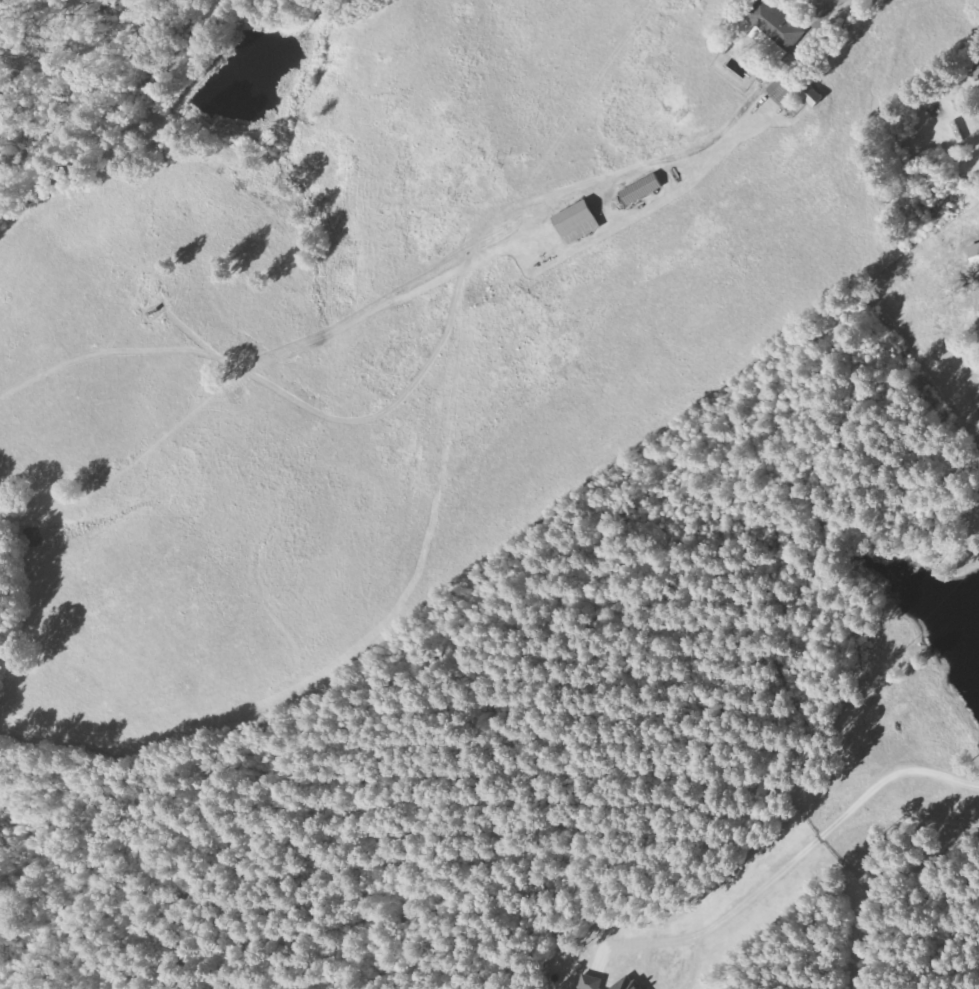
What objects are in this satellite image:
building: (776, 29)
building: (975, 71)
building: (781, 93)
building: (810, 95)
building: (575, 222)
building: (973, 255)
building: (589, 982)
building: (627, 984)

